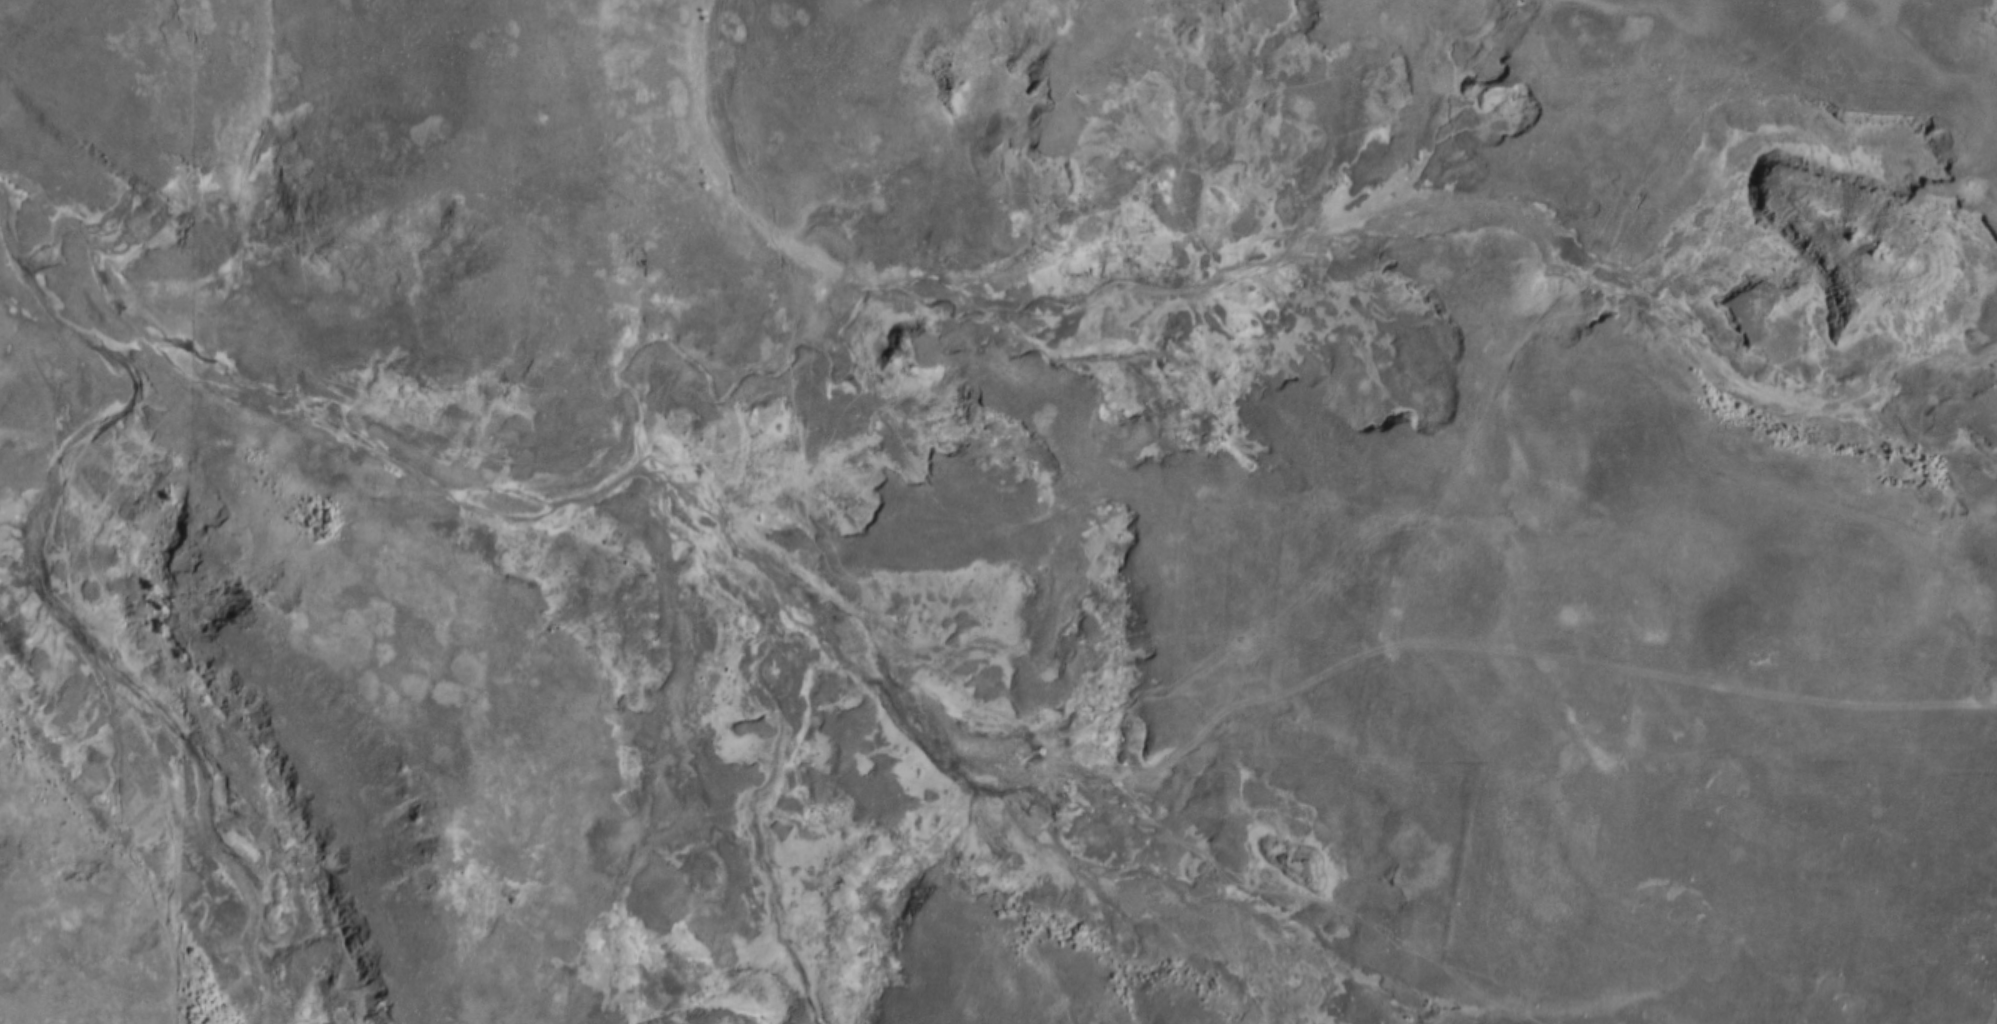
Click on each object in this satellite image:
road: (1603, 665)

